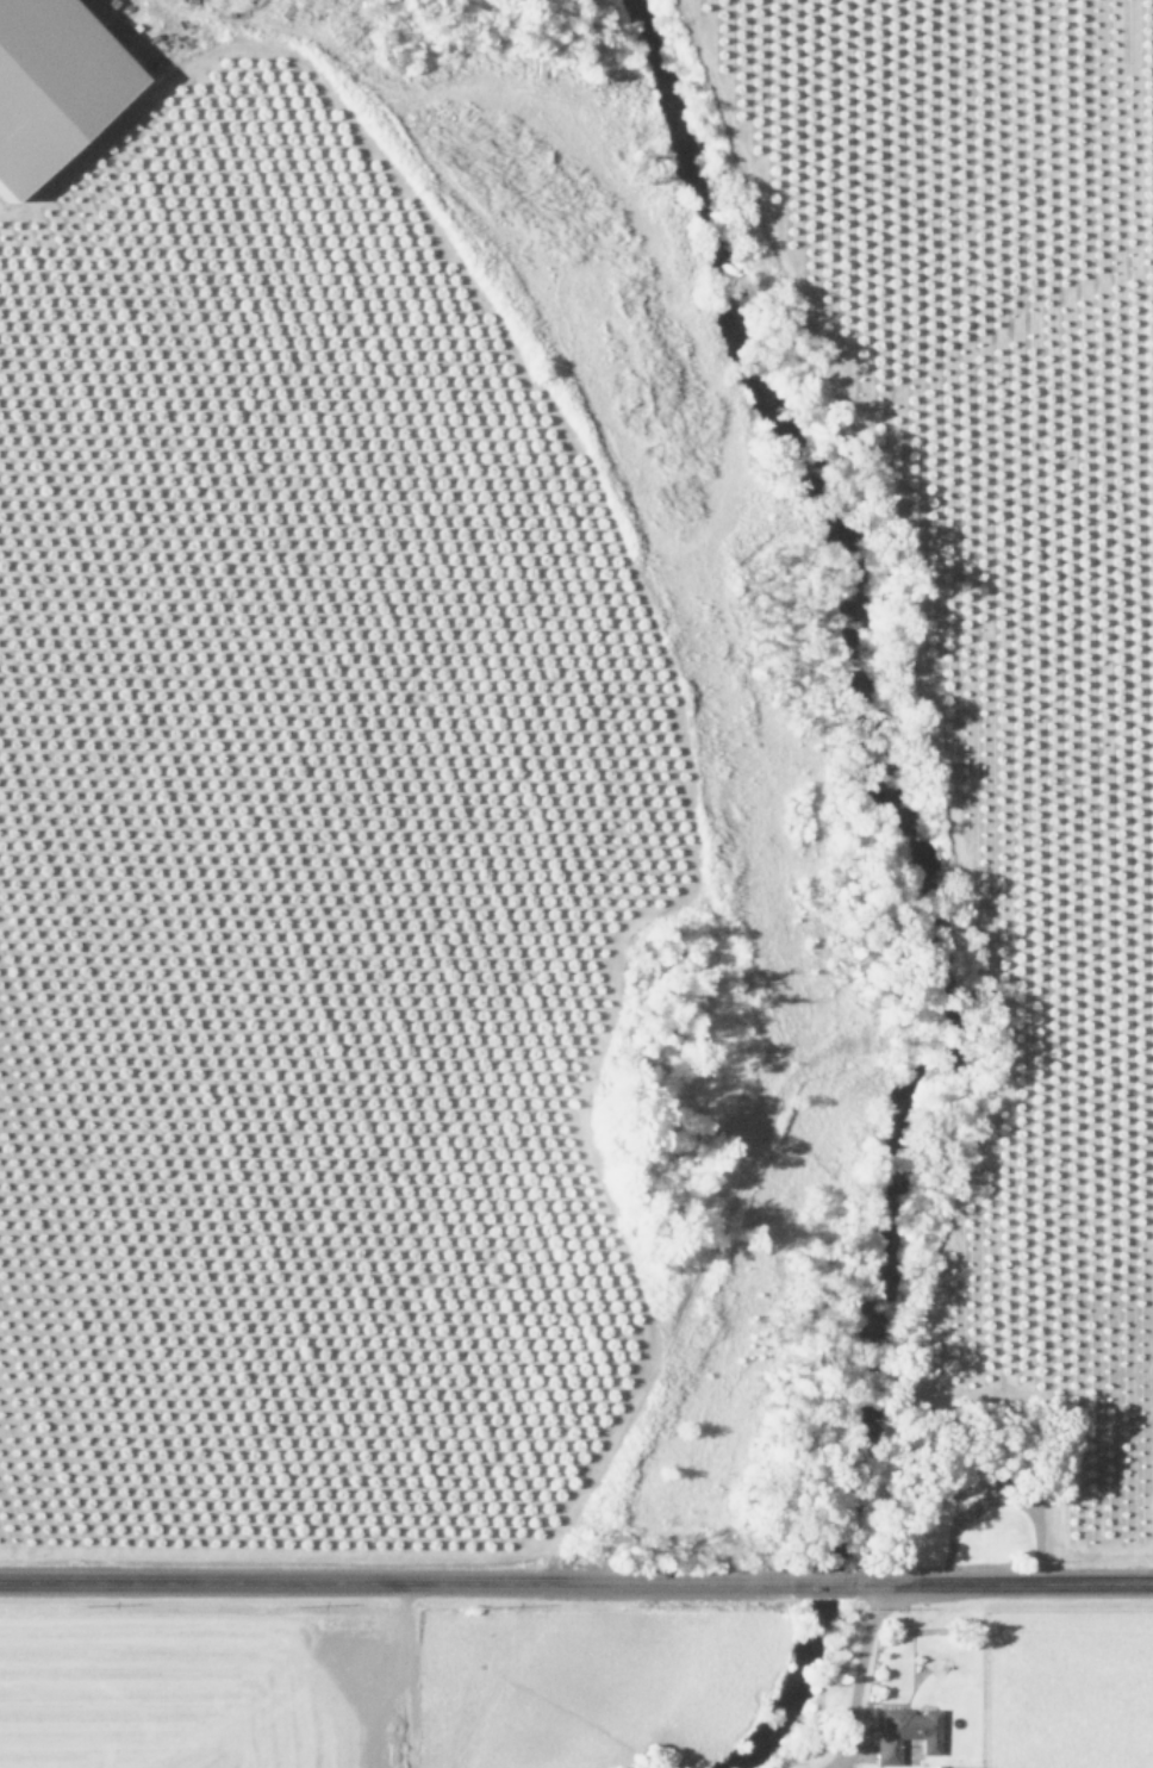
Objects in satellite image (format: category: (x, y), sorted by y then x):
building: (50, 85)
crop: (1018, 802)
crop: (319, 827)
road: (399, 1587)
road: (823, 1587)
road: (999, 1588)
building: (906, 1733)

